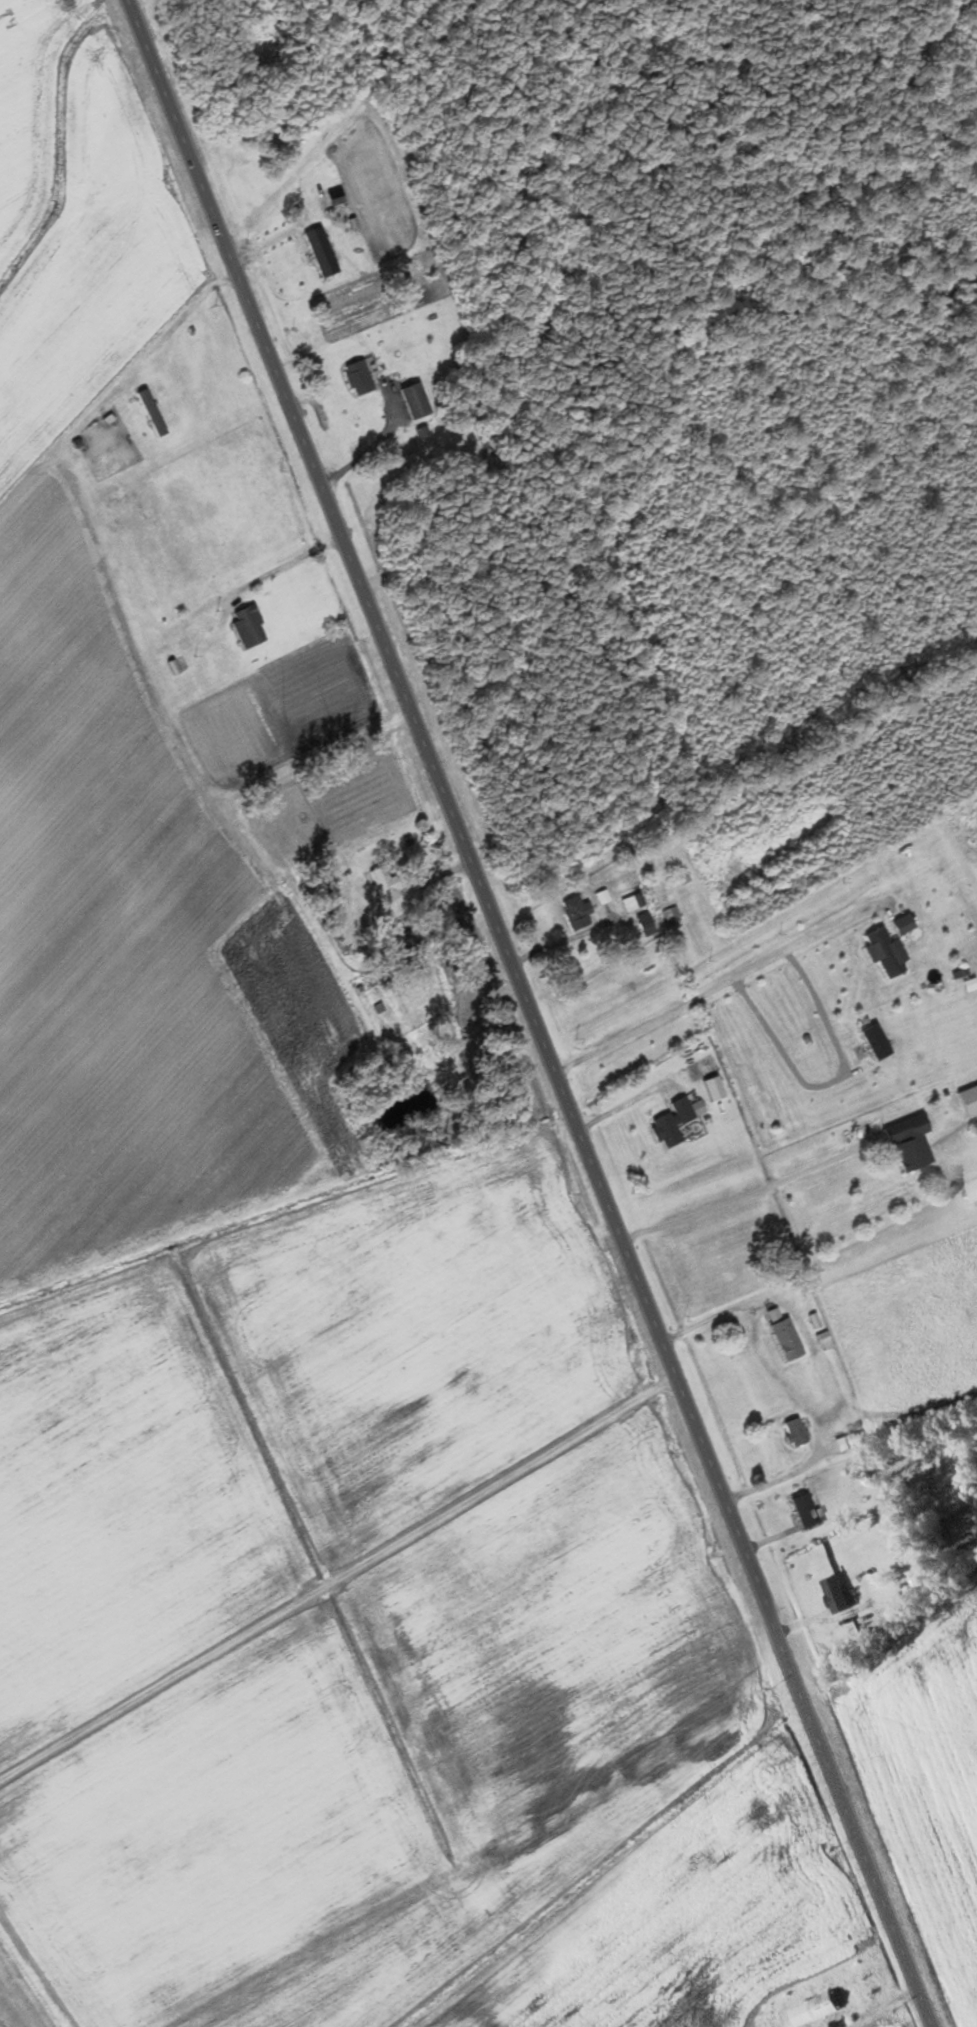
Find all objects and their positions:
road: (372, 120)
building: (320, 254)
building: (357, 380)
building: (414, 404)
building: (162, 407)
building: (247, 629)
building: (384, 885)
building: (631, 904)
building: (575, 914)
building: (671, 917)
building: (644, 926)
building: (902, 926)
building: (885, 953)
road: (725, 983)
road: (536, 1020)
building: (701, 1070)
building: (968, 1102)
building: (671, 1124)
building: (908, 1144)
building: (973, 1191)
road: (745, 1194)
building: (785, 1340)
building: (794, 1434)
building: (802, 1510)
building: (836, 1596)
road: (349, 1605)
building: (825, 2007)

